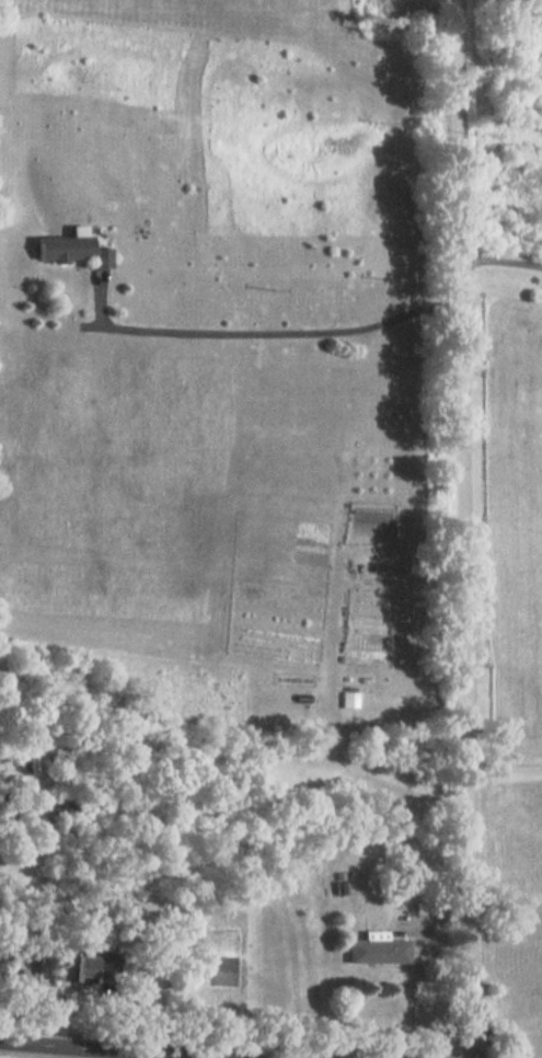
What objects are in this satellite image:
building: (71, 251)
road: (501, 262)
road: (293, 332)
road: (465, 528)
road: (505, 773)
building: (68, 808)
building: (377, 947)
building: (74, 967)
road: (113, 1049)

